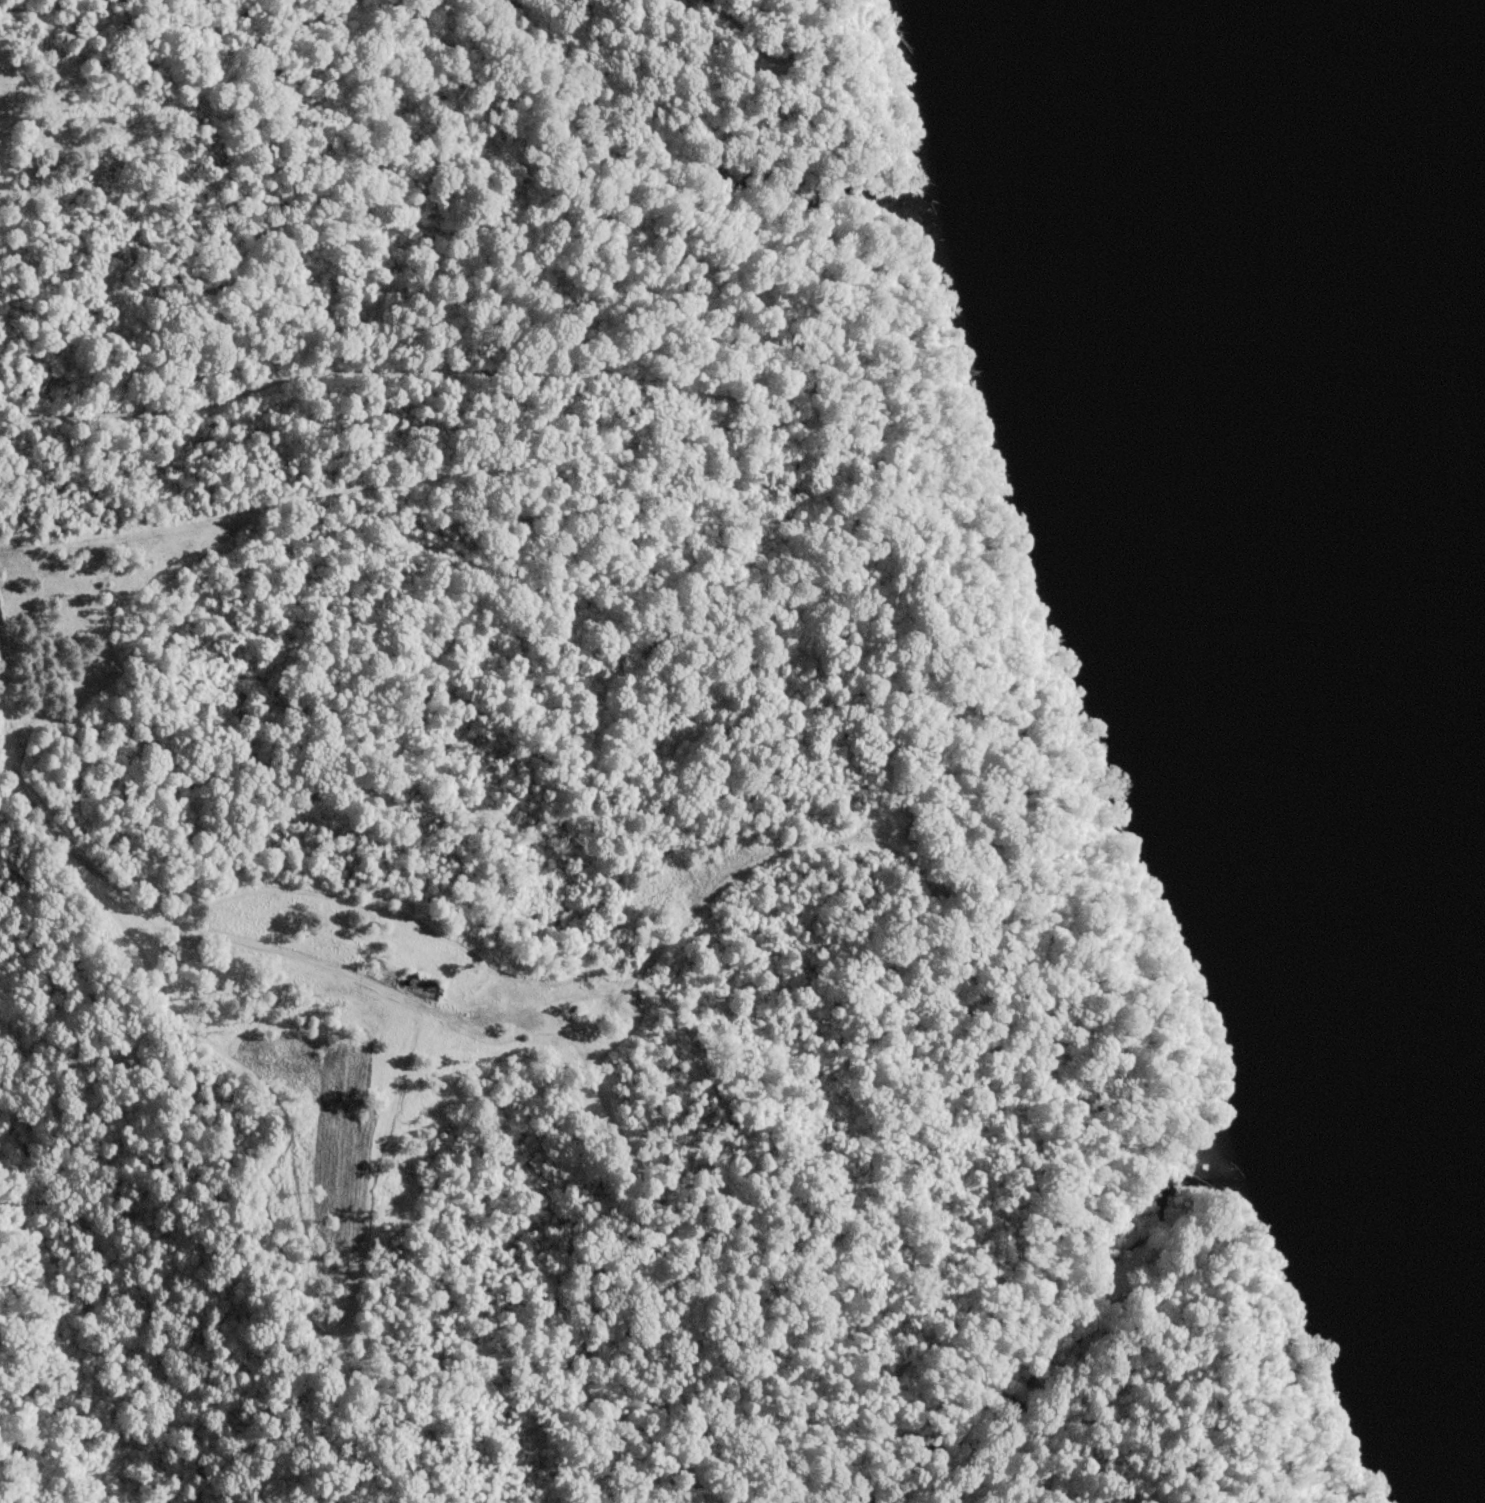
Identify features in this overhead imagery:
river: (1456, 86)

